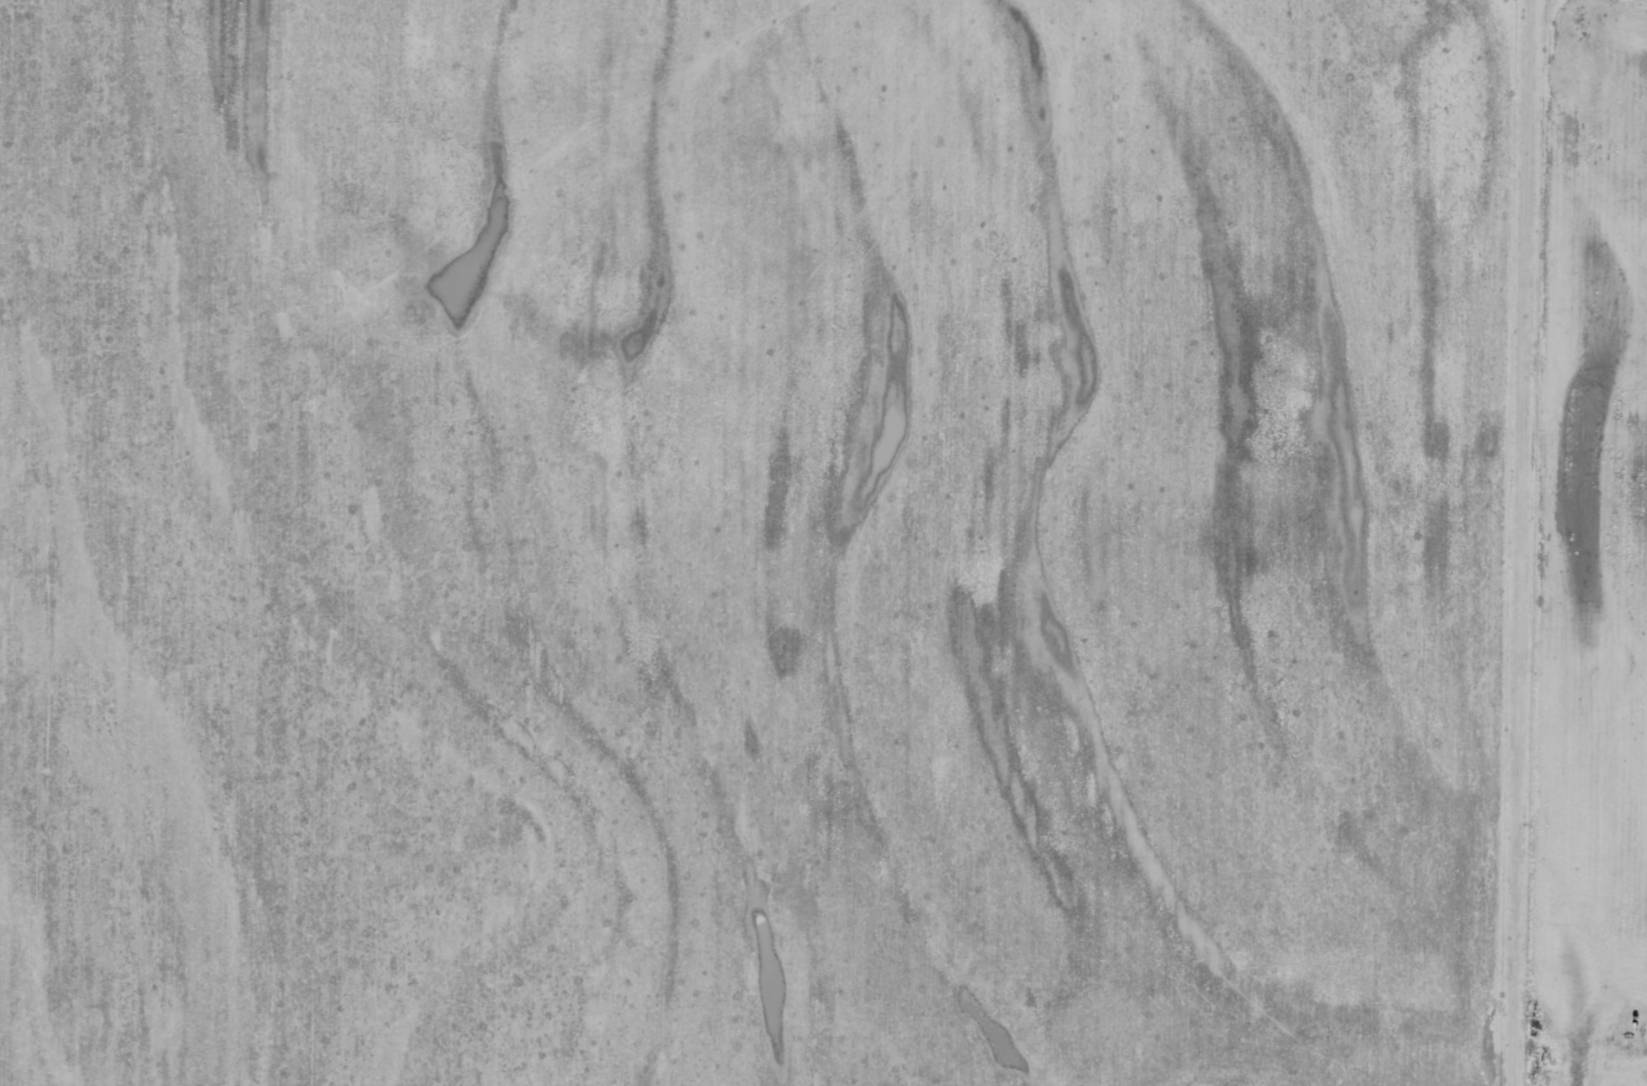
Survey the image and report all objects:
road: (1529, 542)

